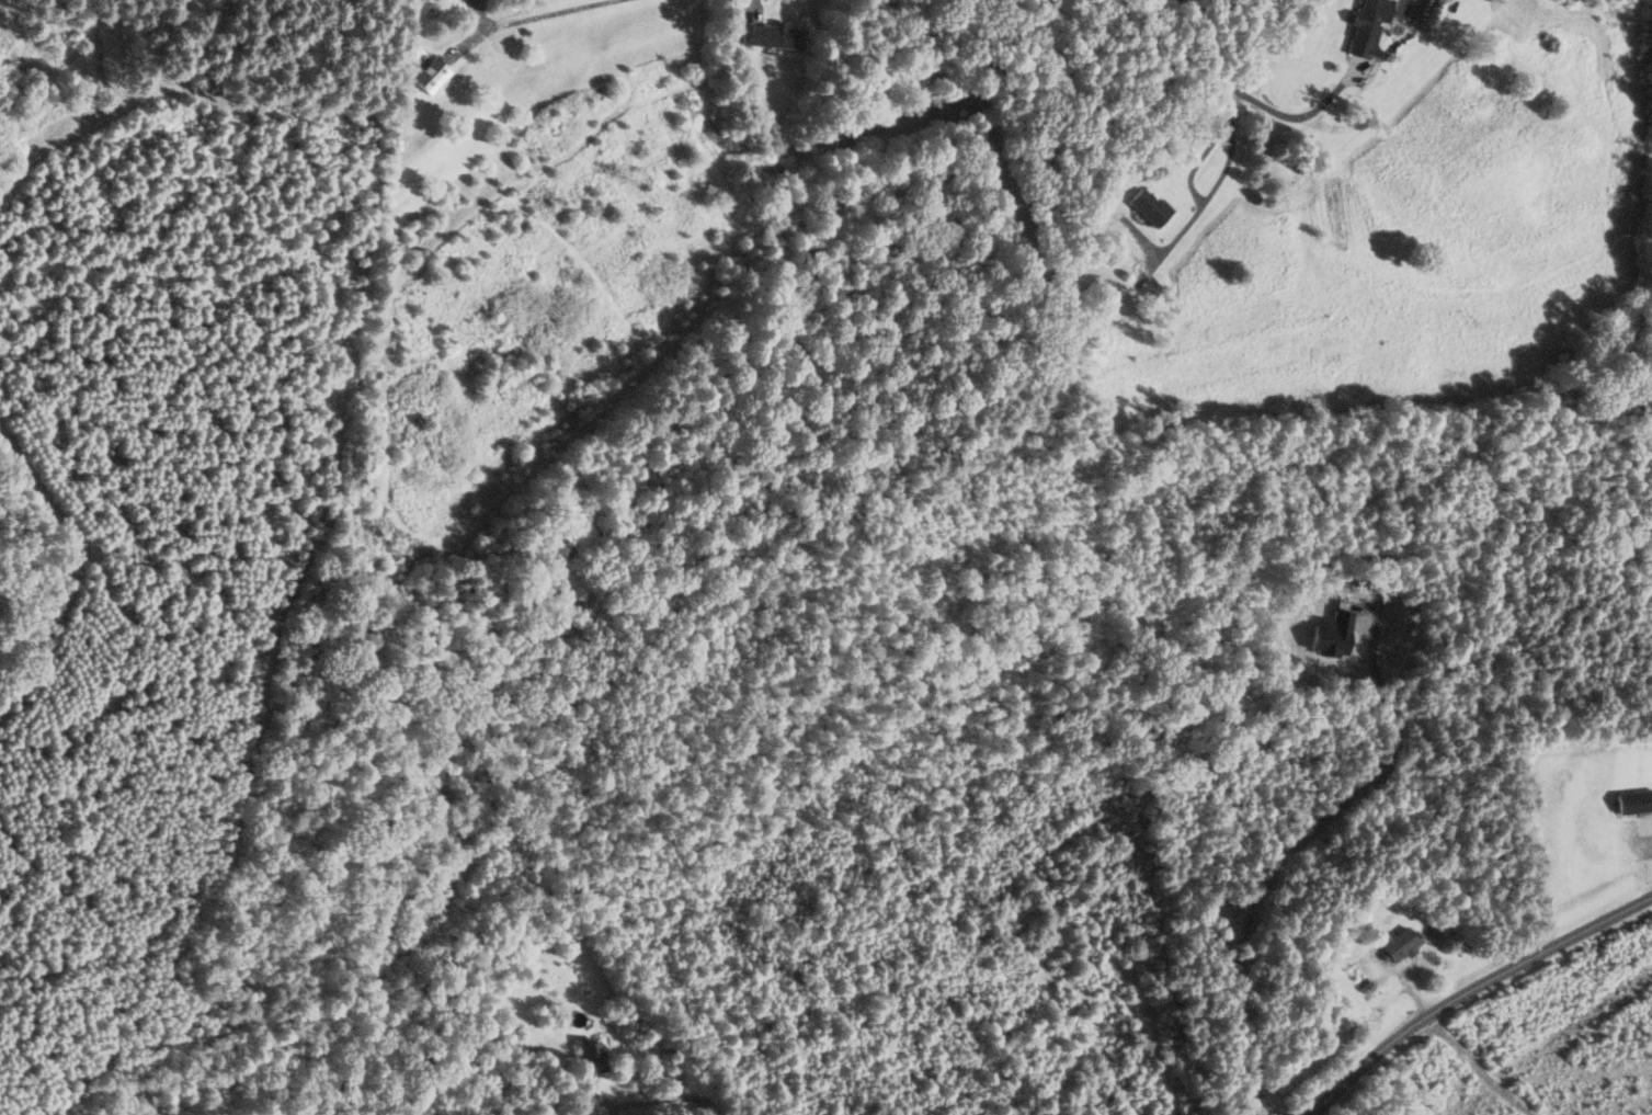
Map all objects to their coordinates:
road: (545, 13)
building: (1368, 25)
building: (771, 35)
building: (430, 75)
road: (1250, 100)
road: (1209, 195)
building: (1150, 206)
building: (1399, 943)
road: (1470, 990)
building: (592, 1058)
road: (1478, 1066)
road: (662, 1097)
building: (1651, 1114)

